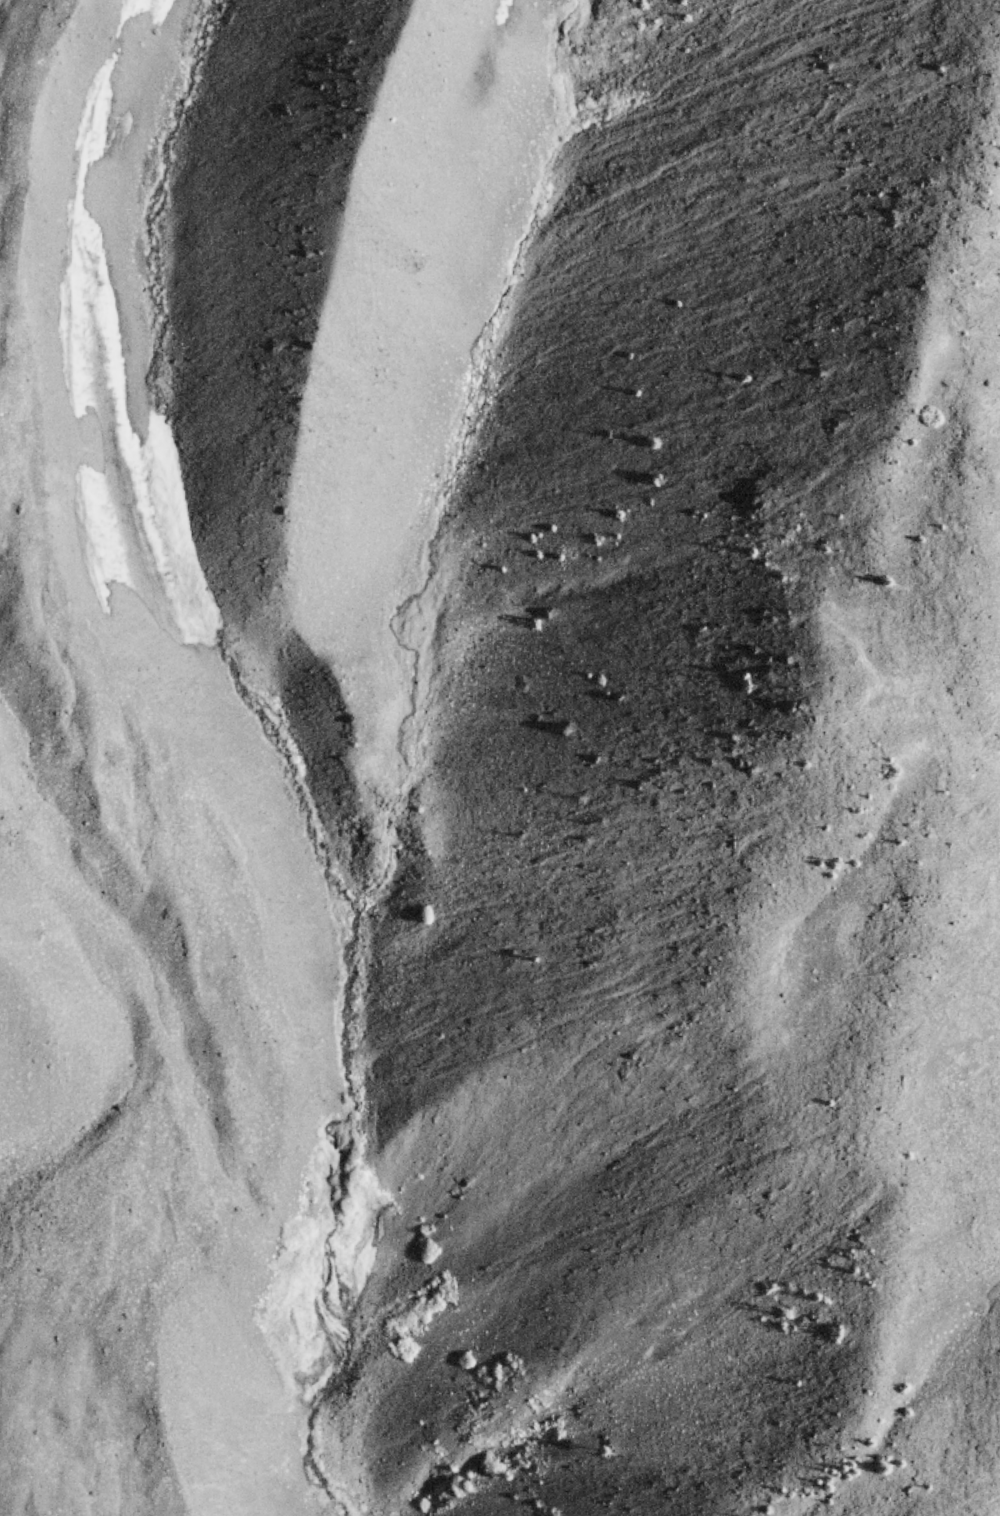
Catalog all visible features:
ski resort: (982, 1053)

